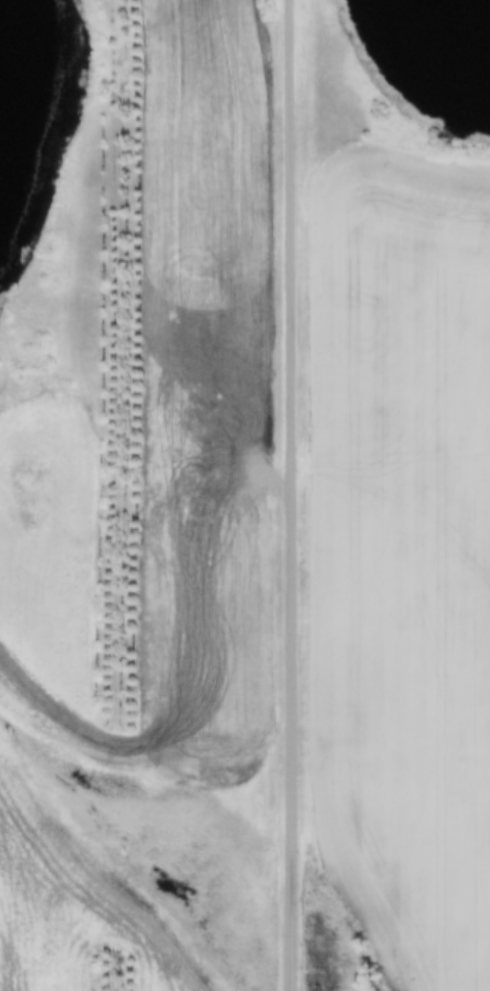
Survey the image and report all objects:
road: (286, 495)

